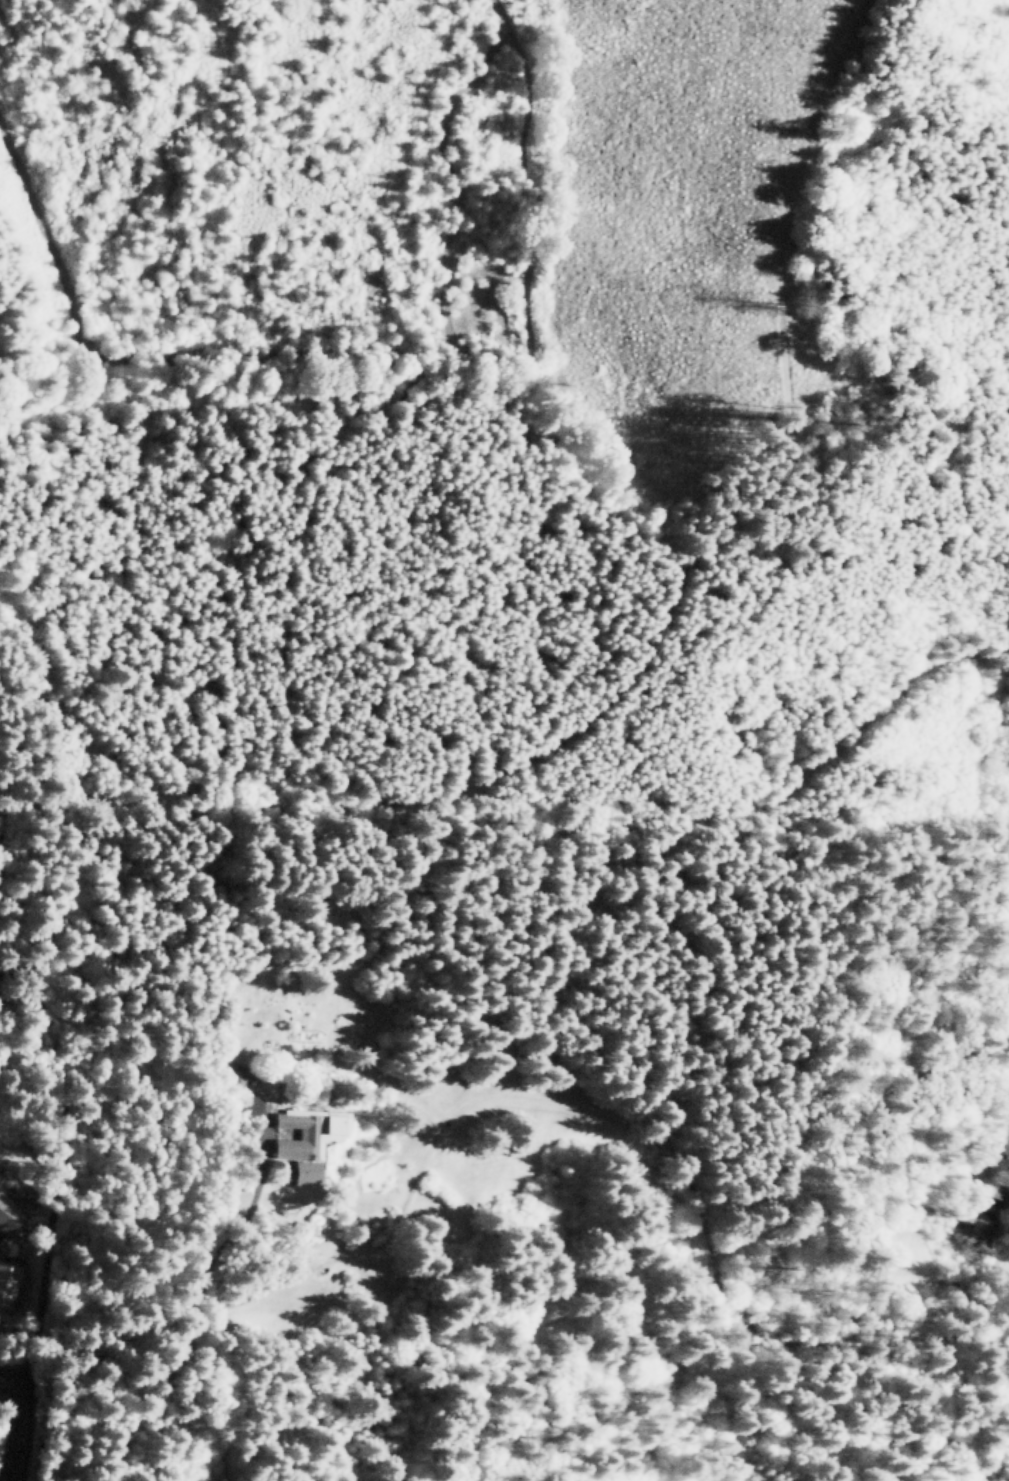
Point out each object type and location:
road: (23, 958)
road: (207, 1053)
building: (256, 1105)
building: (306, 1140)
building: (8, 1214)
road: (42, 1269)
building: (8, 1283)
road: (622, 1294)
road: (101, 1350)
road: (659, 1378)
road: (16, 1425)

